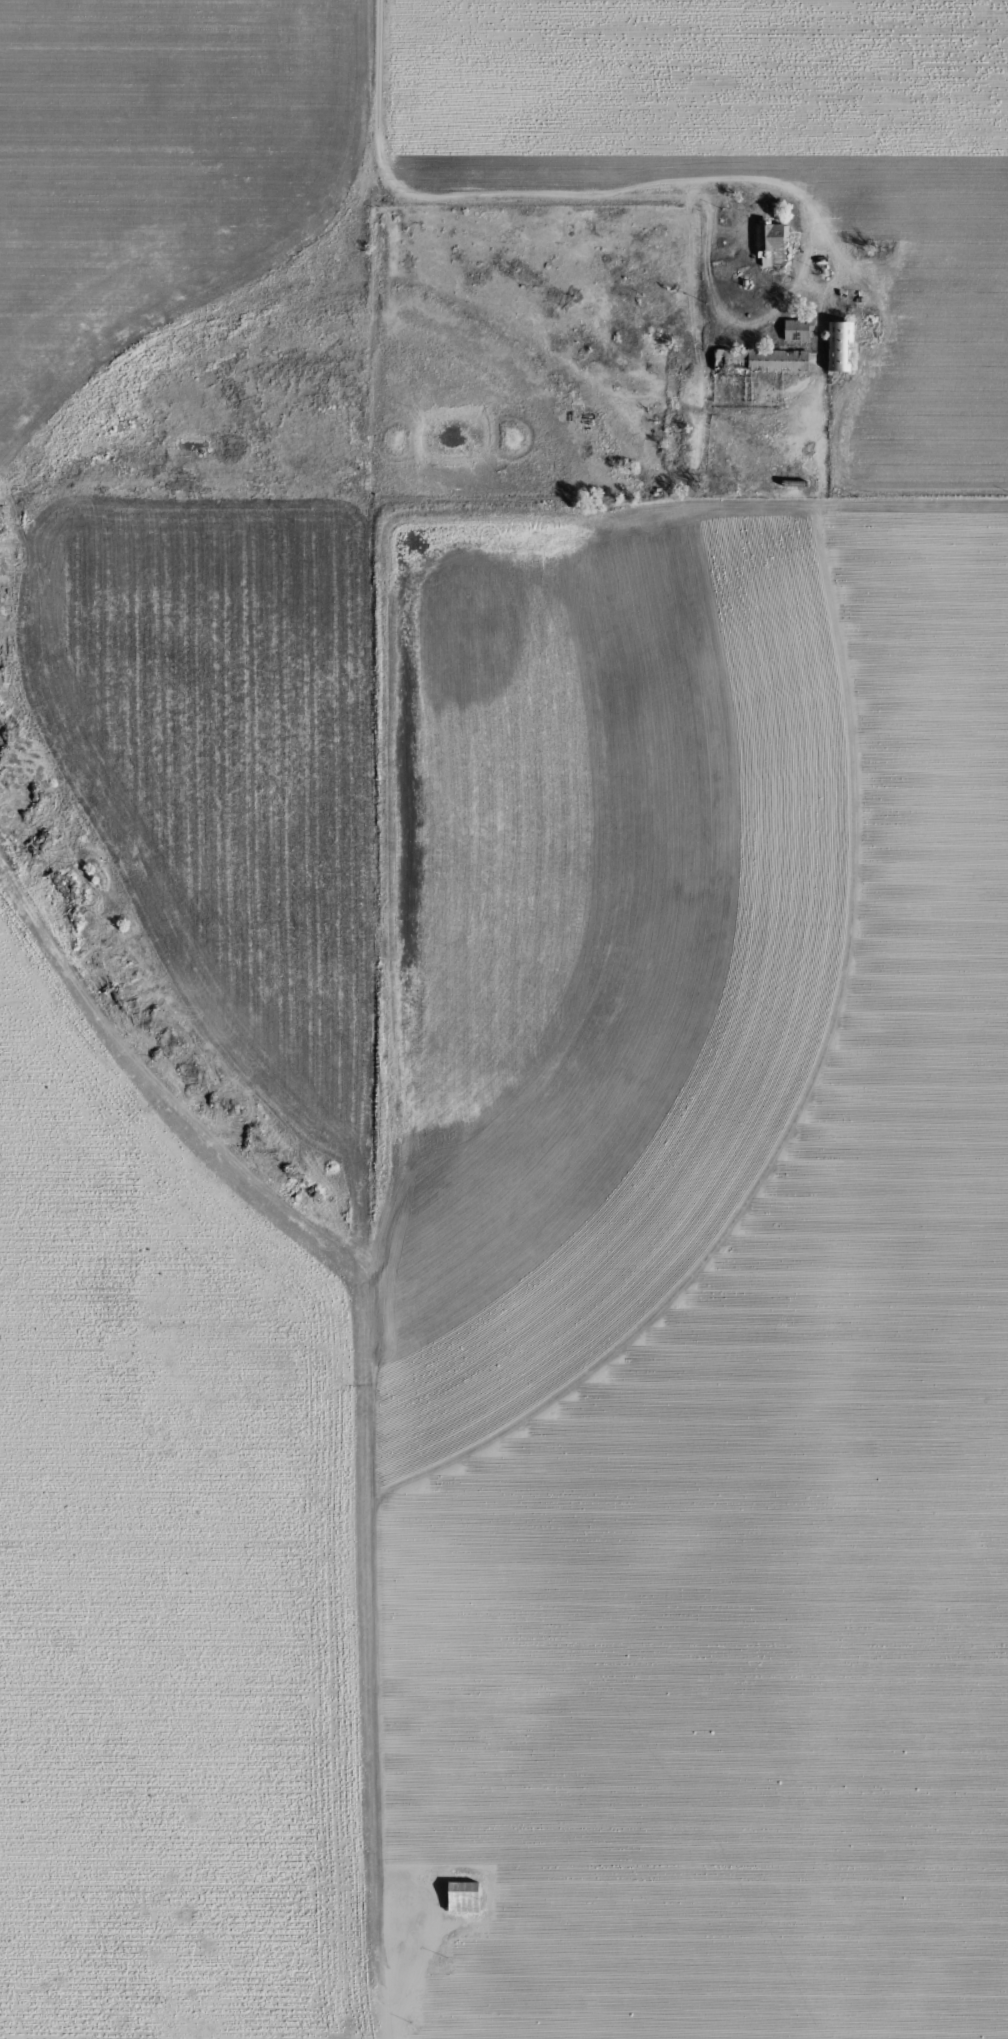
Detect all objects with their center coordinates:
road: (620, 143)
building: (771, 243)
building: (798, 329)
building: (841, 346)
building: (761, 360)
building: (463, 1898)

